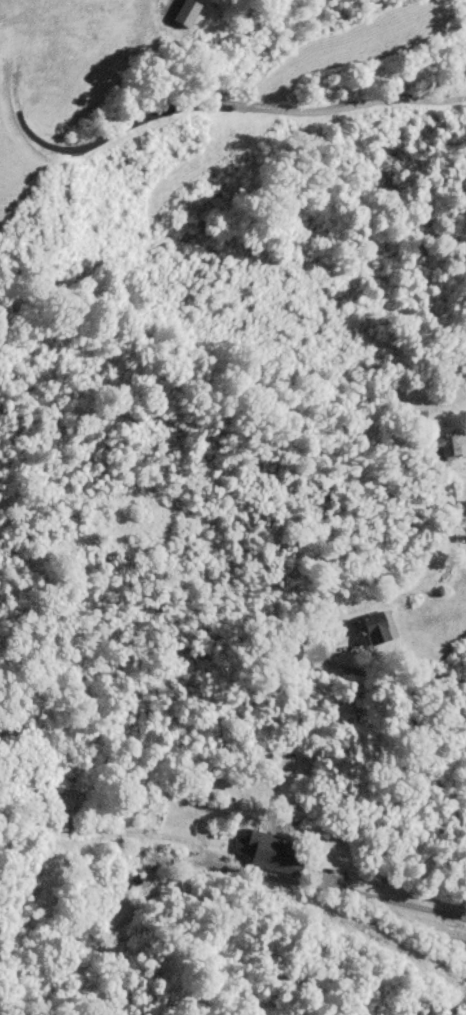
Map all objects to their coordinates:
building: (451, 446)
building: (379, 626)
building: (241, 845)
building: (269, 851)
road: (370, 896)

